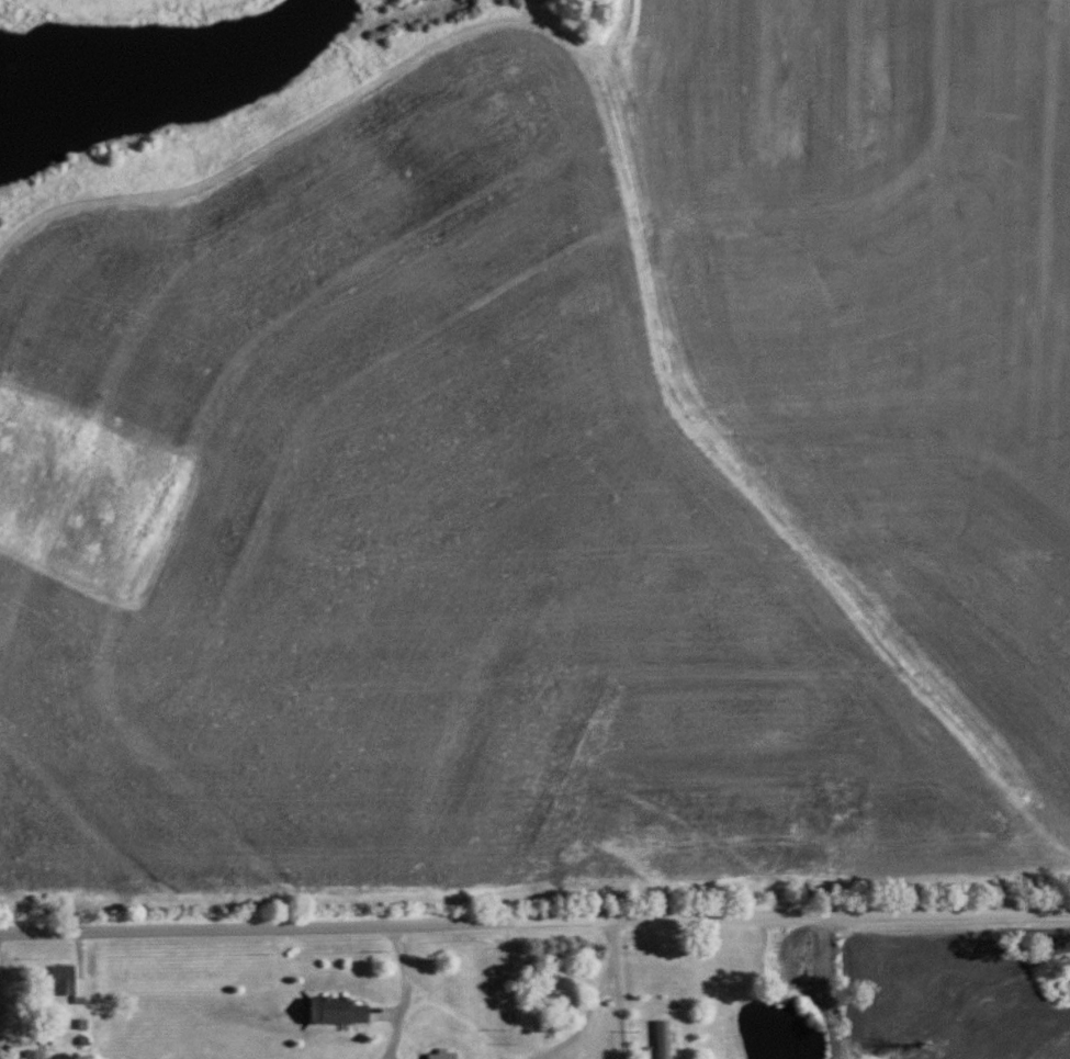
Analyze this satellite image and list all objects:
road: (534, 922)
building: (67, 982)
road: (617, 990)
building: (336, 1011)
road: (584, 1021)
building: (662, 1038)
building: (33, 1054)
building: (441, 1055)

